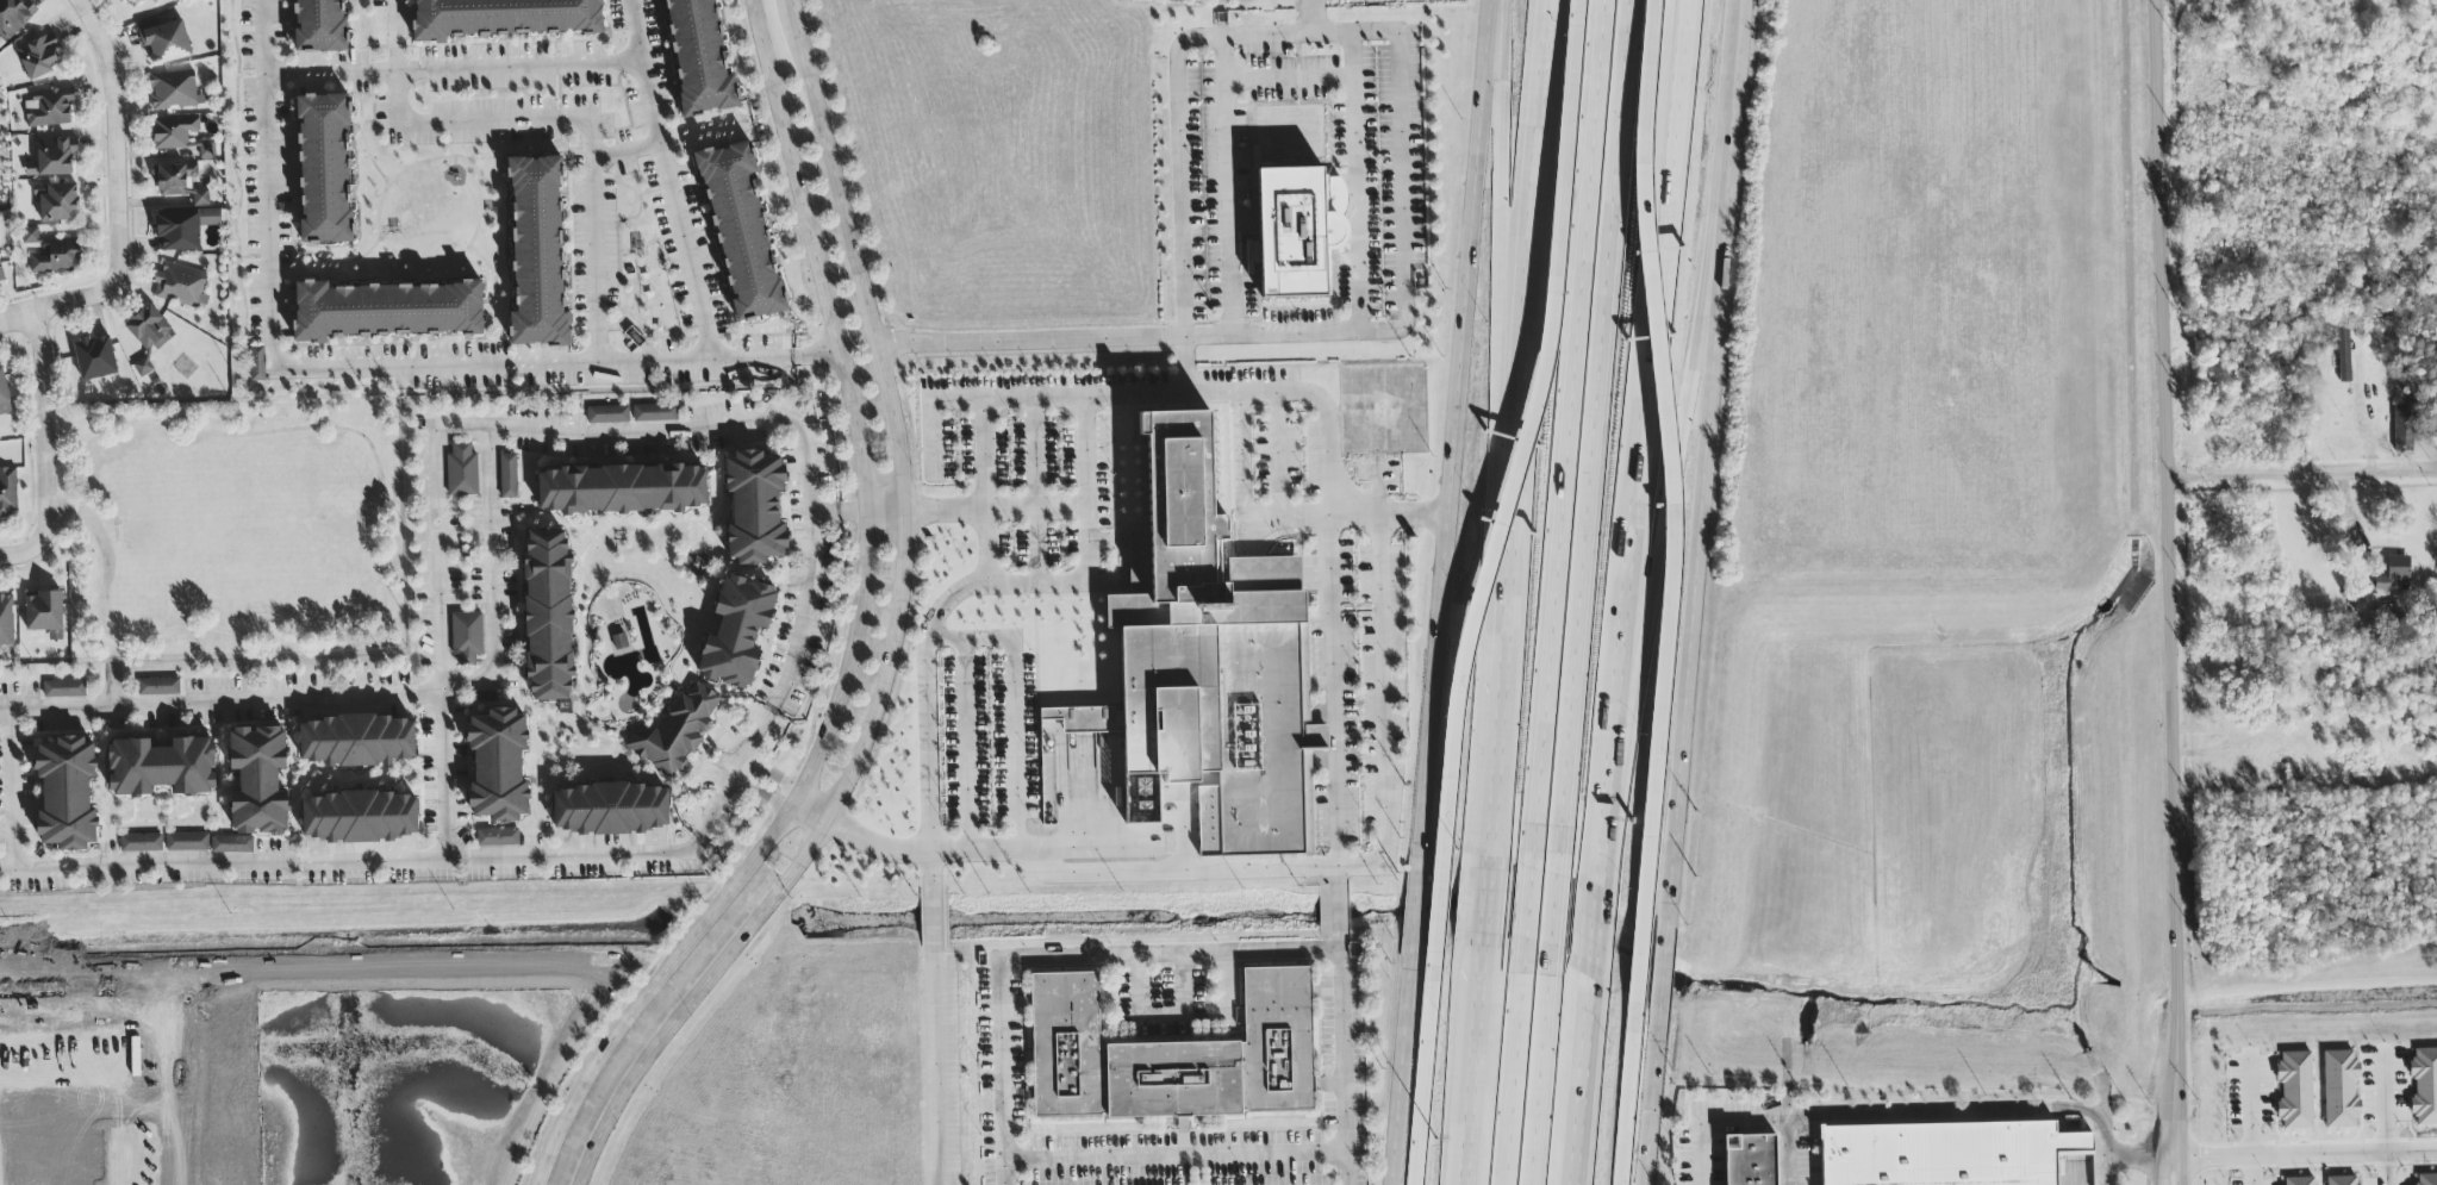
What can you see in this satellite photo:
building: (124, 0)
building: (142, 0)
building: (14, 17)
building: (504, 18)
building: (318, 26)
road: (394, 35)
building: (166, 43)
building: (37, 57)
building: (698, 58)
road: (453, 68)
road: (1288, 75)
road: (1735, 83)
building: (174, 92)
building: (49, 108)
road: (1178, 126)
road: (584, 131)
building: (173, 132)
road: (118, 136)
building: (206, 150)
road: (627, 150)
building: (324, 168)
road: (669, 181)
building: (179, 183)
road: (1224, 187)
road: (1402, 188)
building: (57, 204)
building: (210, 218)
building: (740, 230)
building: (1298, 230)
building: (177, 232)
building: (30, 235)
building: (537, 252)
building: (56, 257)
building: (1, 277)
building: (180, 286)
road: (1503, 301)
road: (62, 310)
building: (385, 311)
road: (1299, 335)
building: (147, 336)
building: (2343, 356)
building: (94, 358)
road: (816, 358)
building: (256, 364)
road: (353, 369)
road: (1646, 387)
building: (4, 395)
road: (1027, 397)
building: (654, 413)
building: (607, 414)
road: (1325, 418)
road: (1456, 423)
road: (1525, 429)
building: (2402, 429)
road: (42, 430)
road: (58, 432)
road: (1565, 434)
road: (1587, 434)
road: (1087, 451)
road: (1277, 454)
parking lot: (1042, 468)
building: (461, 472)
road: (1672, 472)
road: (2301, 474)
building: (507, 476)
building: (621, 489)
building: (7, 492)
road: (1241, 495)
road: (2168, 506)
building: (754, 507)
road: (887, 511)
road: (1089, 541)
road: (1699, 543)
road: (2157, 545)
road: (432, 549)
road: (24, 559)
road: (1491, 573)
road: (1675, 573)
building: (2394, 575)
road: (378, 576)
parking lot: (1336, 593)
building: (43, 612)
building: (547, 616)
building: (6, 623)
road: (930, 631)
building: (736, 632)
road: (858, 632)
road: (899, 632)
road: (987, 637)
building: (466, 638)
road: (948, 638)
road: (792, 641)
building: (619, 644)
building: (1208, 656)
building: (158, 687)
building: (63, 690)
road: (367, 698)
road: (1384, 712)
building: (675, 731)
parking lot: (995, 741)
building: (356, 742)
building: (498, 765)
building: (161, 767)
road: (735, 772)
road: (773, 777)
building: (257, 781)
road: (7, 791)
building: (66, 794)
road: (758, 799)
building: (610, 810)
building: (360, 817)
road: (809, 817)
road: (1600, 825)
building: (497, 837)
building: (139, 843)
building: (186, 843)
building: (231, 844)
road: (220, 866)
road: (1253, 869)
road: (930, 872)
road: (1338, 879)
road: (1414, 902)
road: (1483, 903)
road: (1336, 911)
road: (933, 918)
road: (1526, 922)
road: (1553, 922)
road: (1591, 925)
road: (1336, 942)
road: (1285, 952)
road: (1663, 967)
road: (635, 987)
road: (1161, 1014)
building: (1173, 1055)
road: (937, 1065)
road: (1471, 1067)
road: (1400, 1072)
road: (1001, 1073)
road: (1513, 1079)
road: (1578, 1079)
road: (1540, 1080)
building: (2424, 1086)
building: (2339, 1090)
building: (2294, 1091)
road: (2165, 1098)
road: (2179, 1098)
road: (1652, 1100)
road: (1930, 1110)
road: (1704, 1149)
road: (1797, 1149)
building: (1938, 1152)
road: (2119, 1153)
parking lot: (1193, 1154)
road: (2410, 1155)
road: (1174, 1156)
building: (1750, 1160)
road: (2282, 1160)
road: (1621, 1165)
road: (1414, 1167)
road: (2383, 1171)
road: (2250, 1173)
building: (2426, 1179)
building: (2341, 1180)
building: (2296, 1181)

